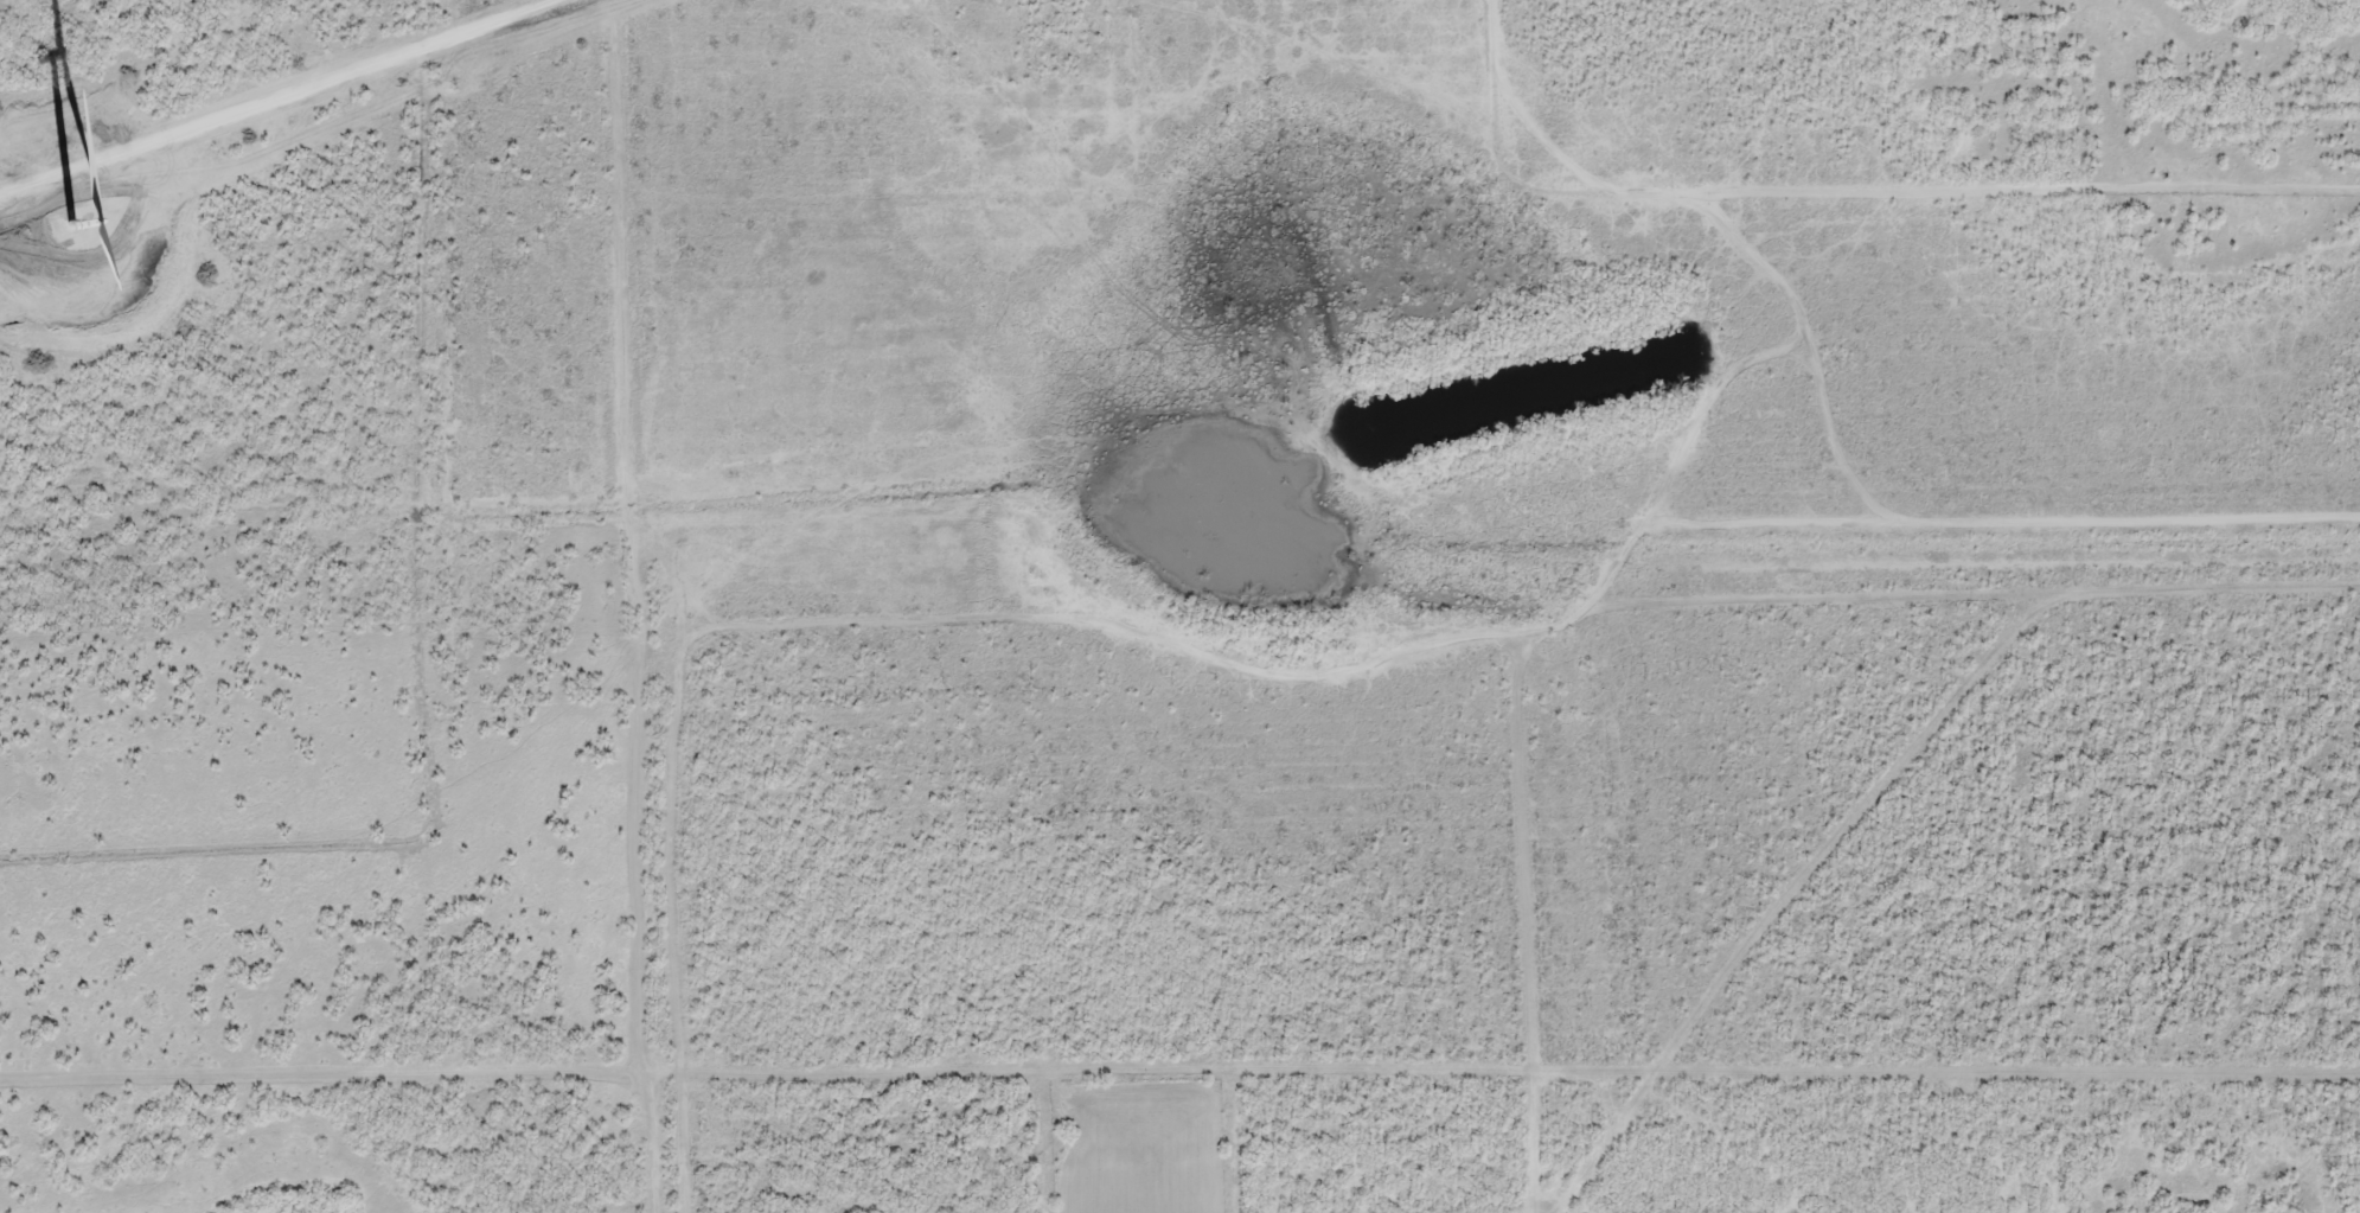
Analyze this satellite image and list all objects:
road: (273, 97)
wind turbine: (73, 223)
river: (1530, 485)

